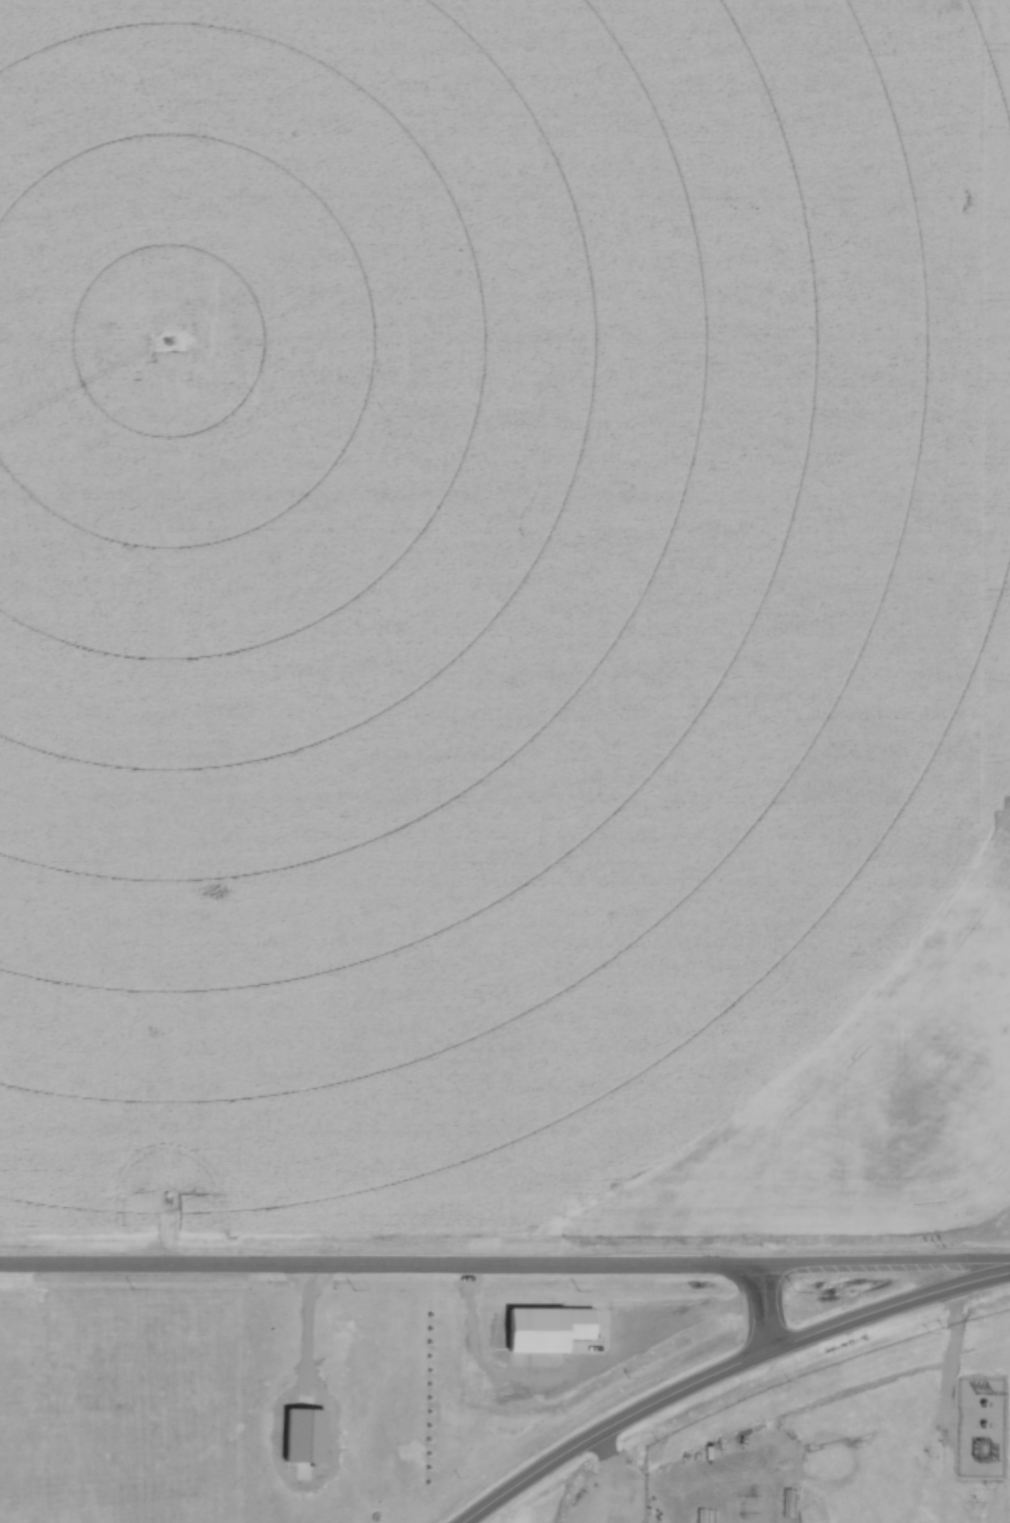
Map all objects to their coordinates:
road: (505, 1263)
road: (769, 1303)
road: (723, 1369)
power substation: (981, 1426)
road: (701, 1478)

